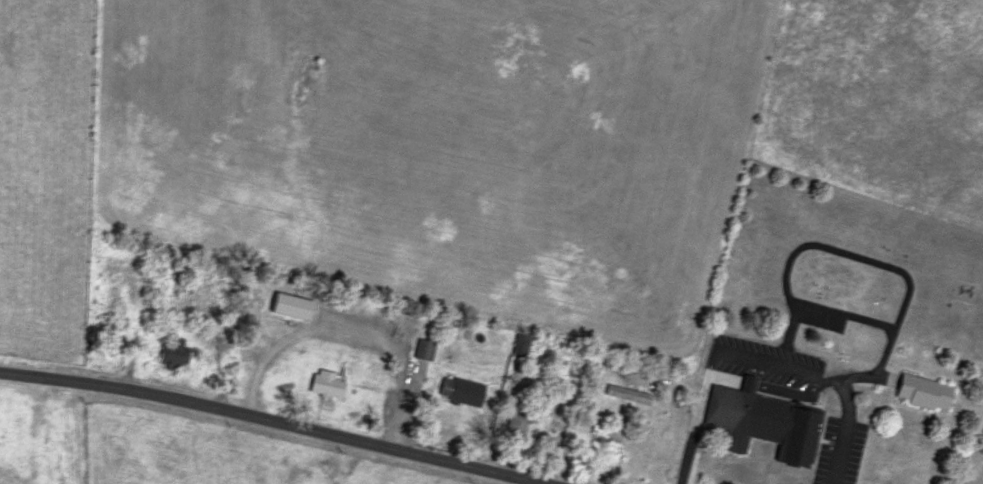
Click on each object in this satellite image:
building: (293, 306)
road: (354, 329)
building: (113, 340)
building: (426, 350)
building: (176, 354)
building: (330, 384)
building: (464, 392)
building: (925, 392)
building: (746, 417)
road: (278, 419)
building: (518, 423)

